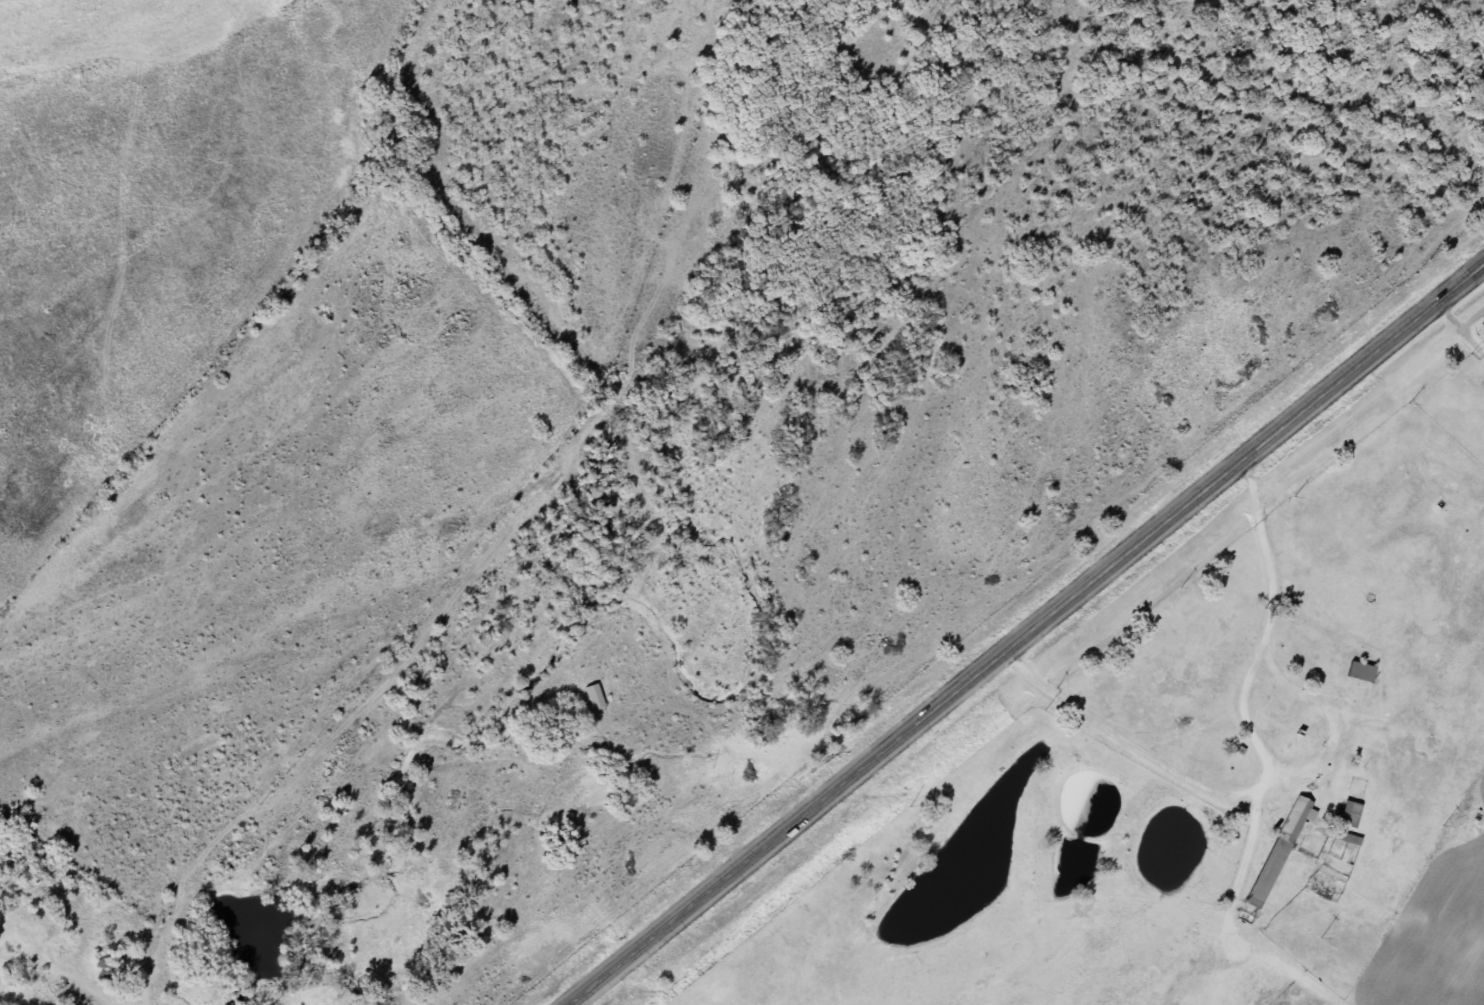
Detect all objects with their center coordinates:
building: (1388, 503)
road: (1026, 634)
building: (1356, 671)
road: (1306, 679)
building: (1300, 740)
road: (1264, 764)
building: (1345, 814)
building: (1344, 837)
building: (1278, 848)

